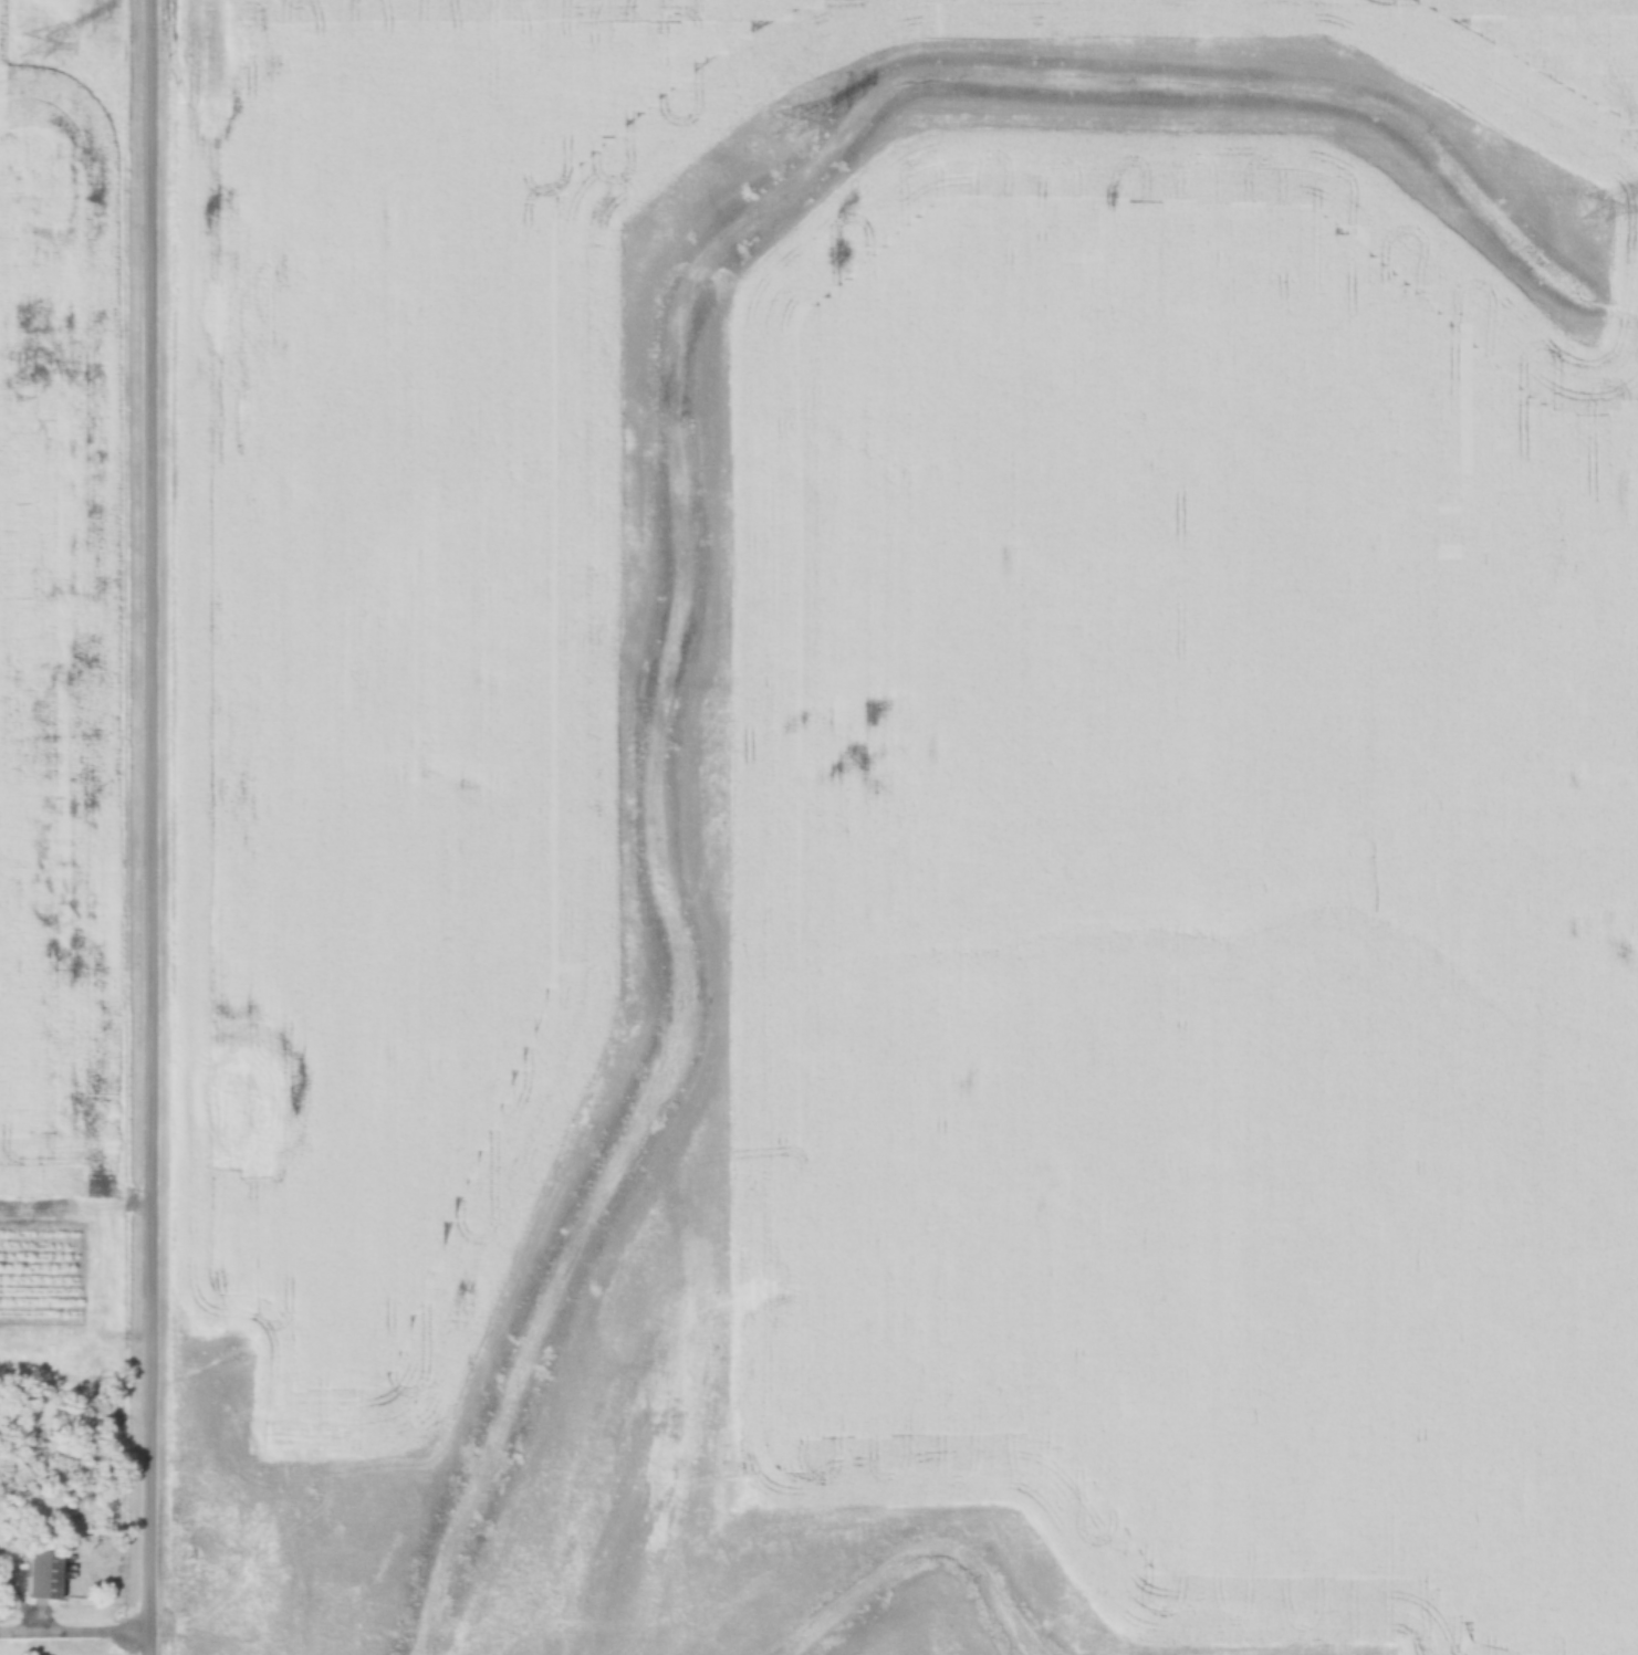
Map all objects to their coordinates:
power tower: (22, 35)
power tower: (781, 126)
power tower: (1590, 199)
road: (146, 827)
building: (43, 1577)
road: (73, 1632)

